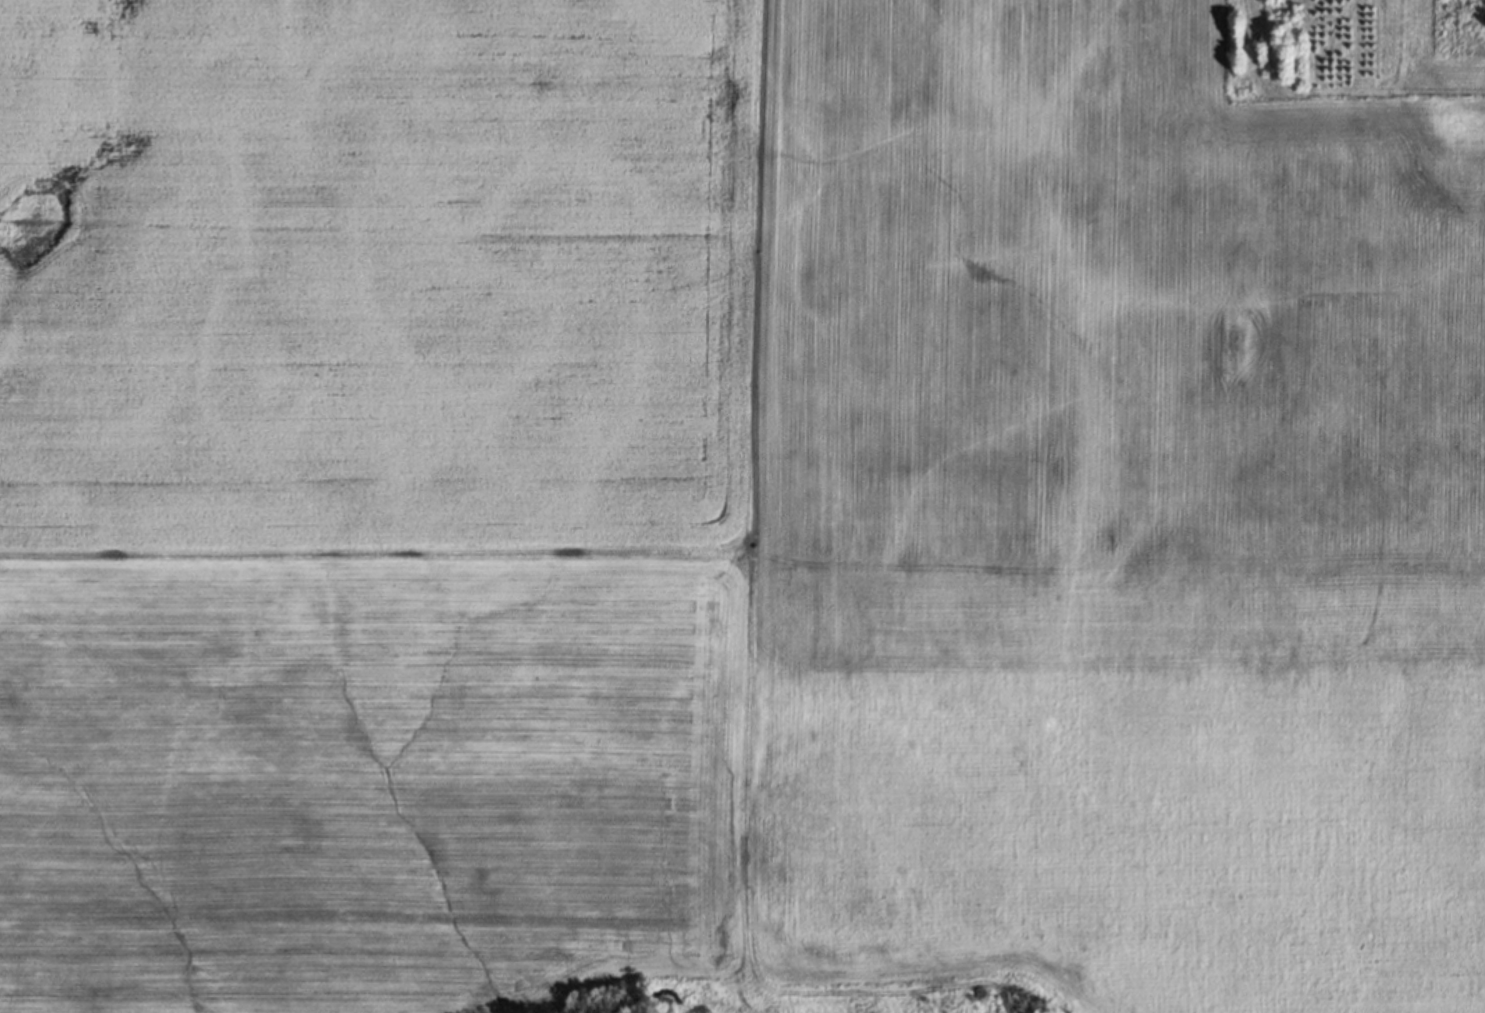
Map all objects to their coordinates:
crop: (742, 504)

